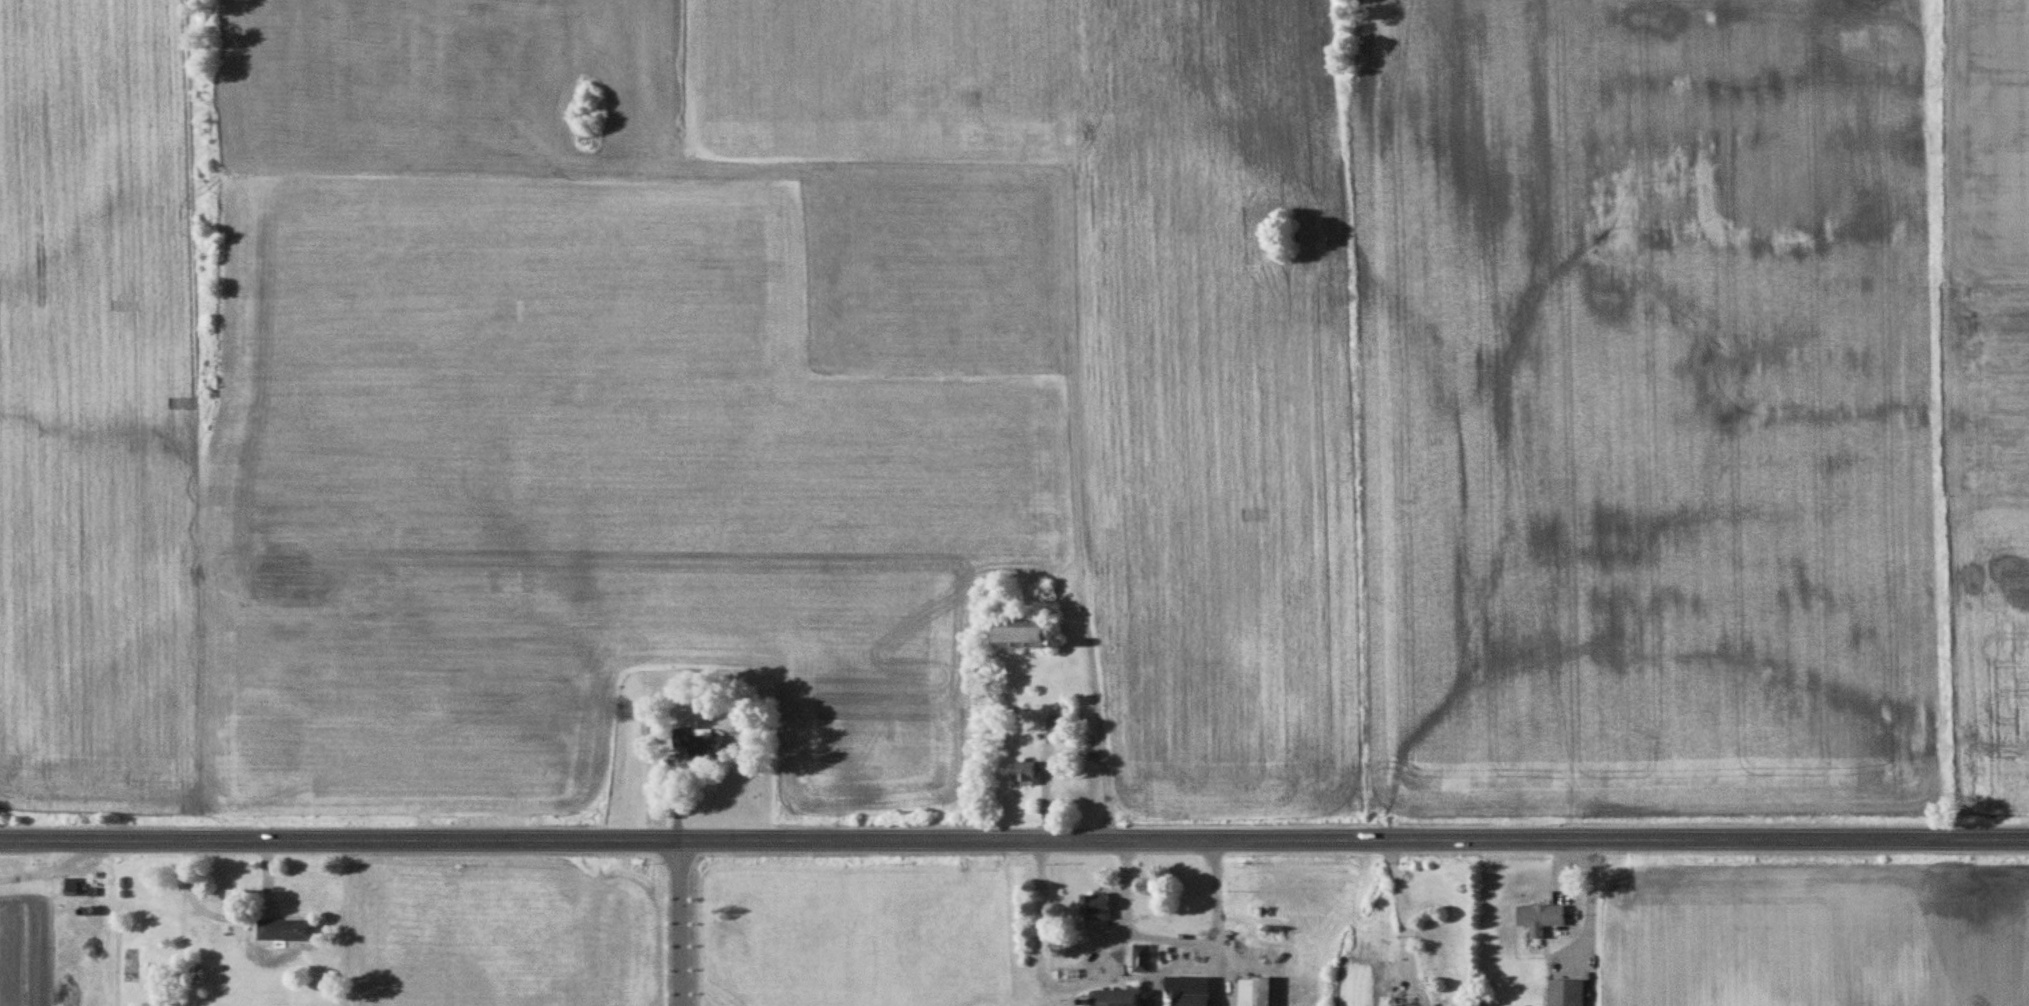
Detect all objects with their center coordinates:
building: (1037, 635)
building: (709, 743)
road: (1014, 838)
road: (1591, 903)
building: (1101, 907)
road: (1393, 909)
building: (1546, 917)
road: (235, 918)
road: (1221, 921)
road: (681, 922)
building: (291, 929)
road: (1176, 936)
road: (1079, 984)
building: (1193, 990)
building: (1263, 992)
building: (1570, 992)
building: (1127, 998)

